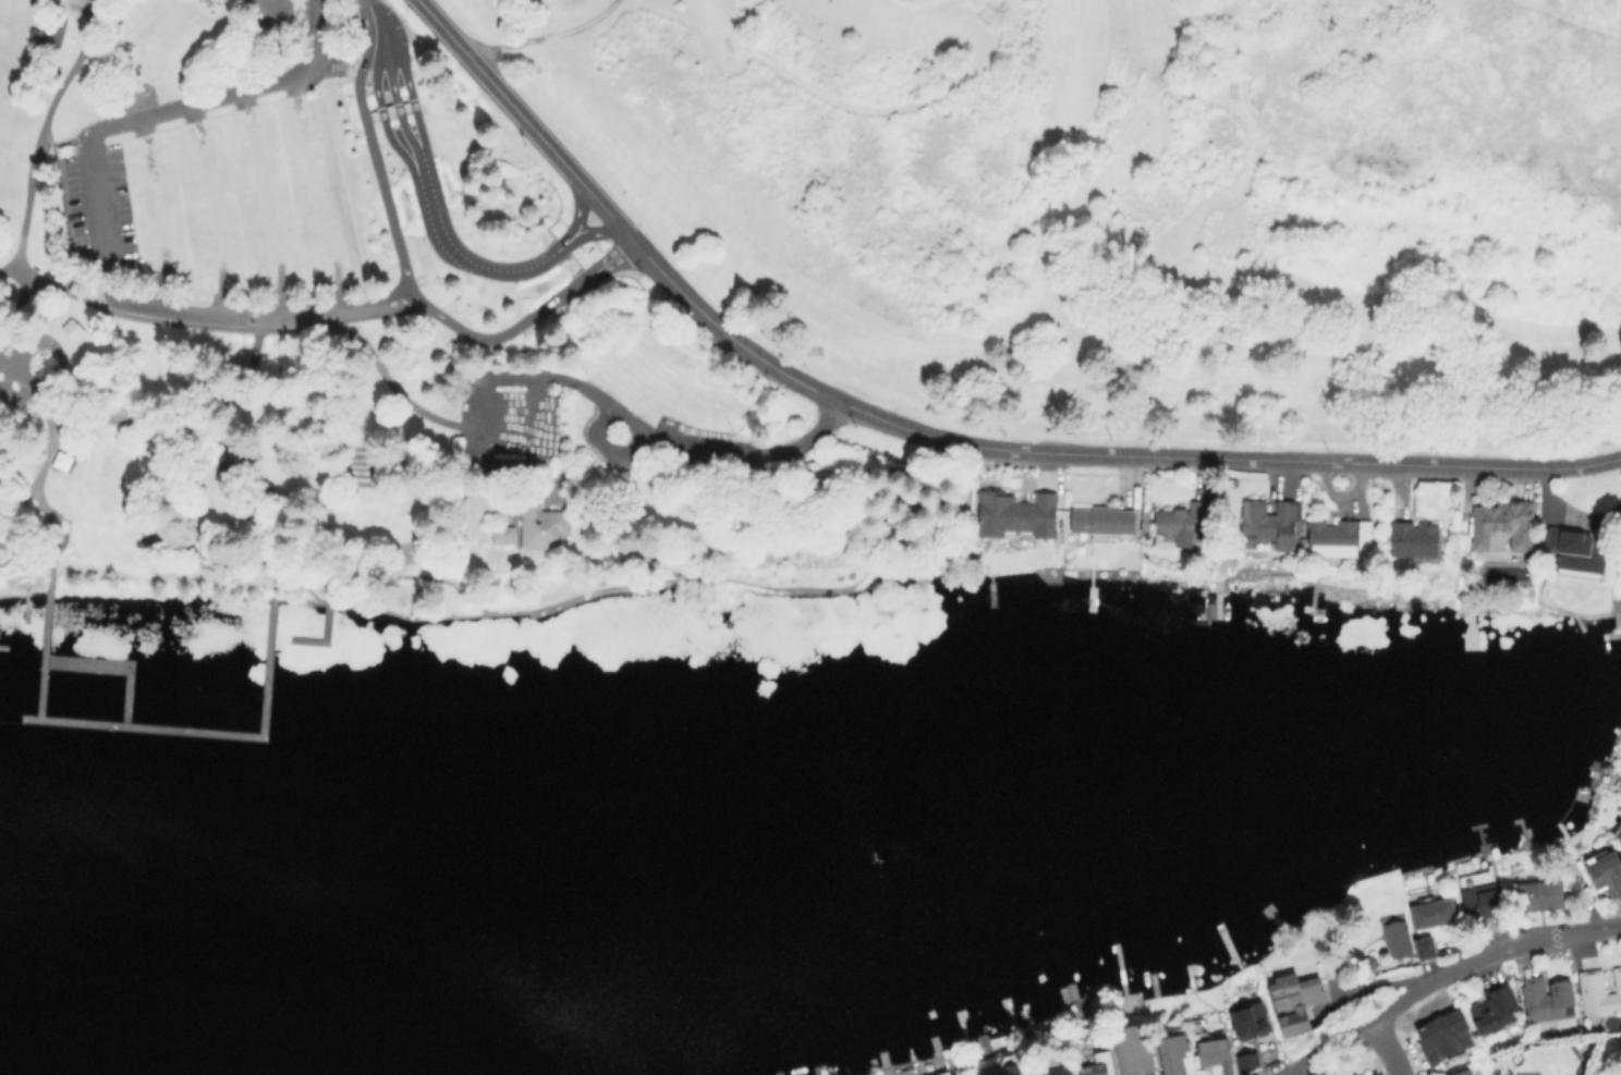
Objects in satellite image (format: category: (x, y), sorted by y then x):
road: (366, 0)
road: (911, 0)
road: (1565, 20)
building: (47, 32)
road: (545, 34)
road: (361, 69)
road: (392, 94)
building: (404, 106)
building: (388, 109)
road: (869, 110)
road: (154, 113)
building: (371, 114)
road: (527, 123)
road: (393, 145)
road: (31, 182)
road: (317, 195)
park: (1133, 199)
parking lot: (241, 201)
road: (264, 204)
road: (210, 209)
road: (431, 210)
parking lot: (98, 211)
road: (156, 212)
road: (86, 237)
road: (9, 267)
road: (405, 280)
road: (381, 304)
road: (232, 317)
building: (71, 328)
park: (367, 346)
road: (398, 392)
road: (215, 393)
road: (61, 404)
road: (106, 417)
parking lot: (503, 419)
road: (62, 426)
road: (646, 430)
parking lot: (705, 433)
road: (812, 435)
road: (48, 439)
road: (605, 447)
road: (1098, 454)
building: (60, 460)
road: (485, 461)
building: (233, 474)
road: (836, 505)
building: (1016, 513)
building: (1102, 518)
building: (1180, 522)
building: (1269, 522)
building: (541, 523)
building: (1502, 523)
road: (765, 524)
building: (501, 534)
building: (1337, 536)
building: (1412, 538)
building: (1549, 538)
road: (324, 540)
road: (50, 545)
road: (25, 546)
building: (1581, 551)
road: (168, 557)
road: (595, 589)
road: (300, 597)
pier: (5, 631)
pier: (45, 636)
pier: (324, 636)
pier: (114, 664)
pier: (211, 731)
building: (1619, 835)
building: (1604, 872)
building: (1538, 894)
building: (1479, 901)
building: (1430, 913)
building: (1394, 937)
building: (1424, 949)
building: (1366, 963)
road: (1441, 976)
building: (1599, 992)
building: (1292, 998)
building: (1547, 999)
building: (1492, 1009)
building: (1248, 1021)
building: (1443, 1035)
road: (1385, 1048)
building: (1132, 1050)
building: (1171, 1053)
building: (1214, 1053)
building: (1245, 1062)
building: (1096, 1066)
building: (1011, 1070)
building: (1055, 1071)
building: (1463, 1073)
building: (1032, 1074)

